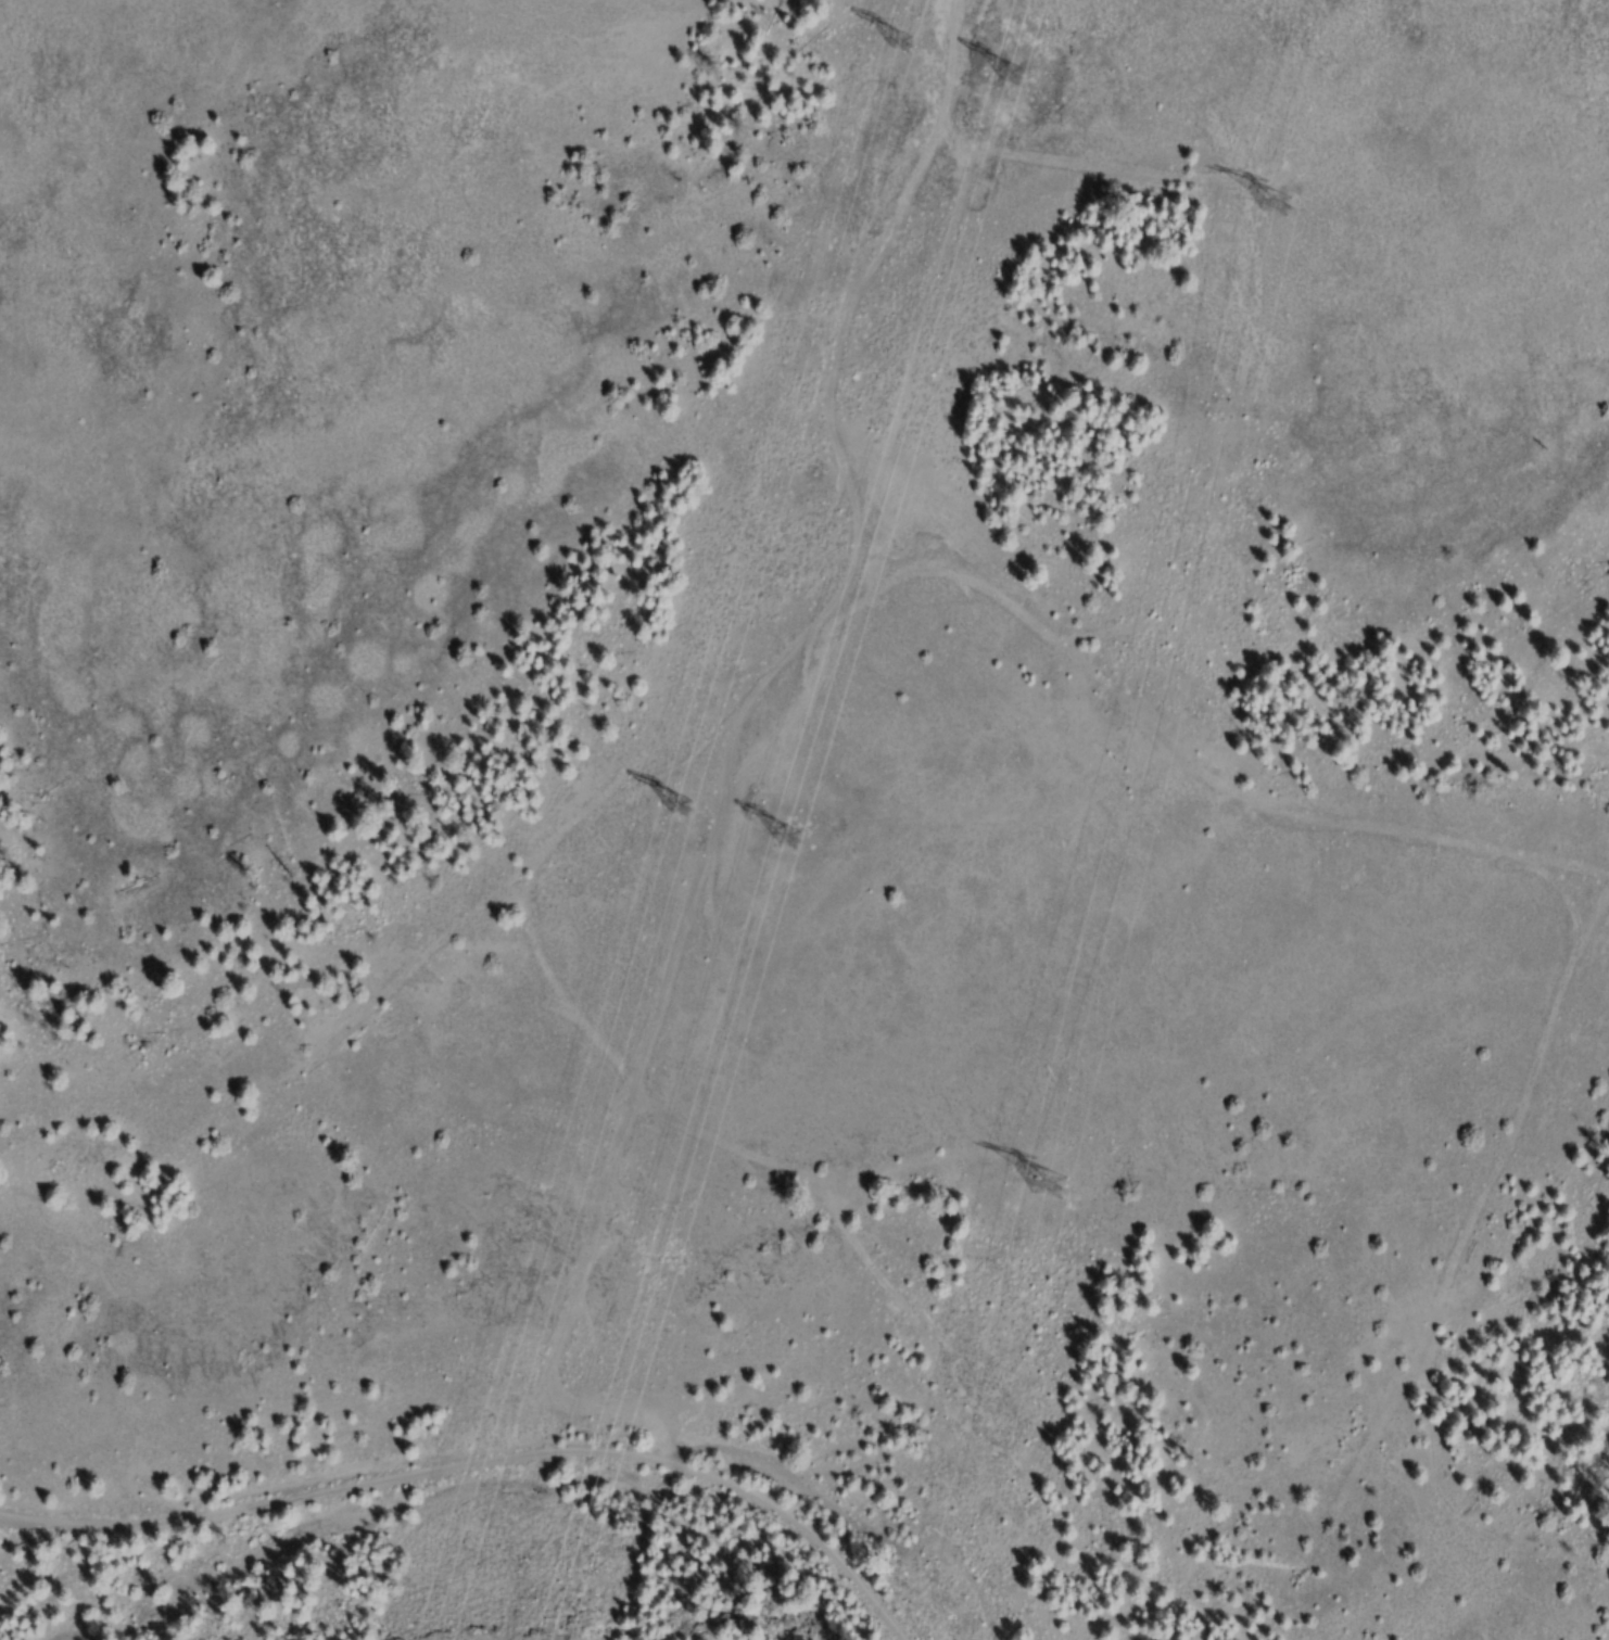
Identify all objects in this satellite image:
power tower: (897, 41)
power tower: (998, 65)
power tower: (1271, 209)
power tower: (672, 800)
power tower: (786, 830)
power tower: (1052, 1205)

